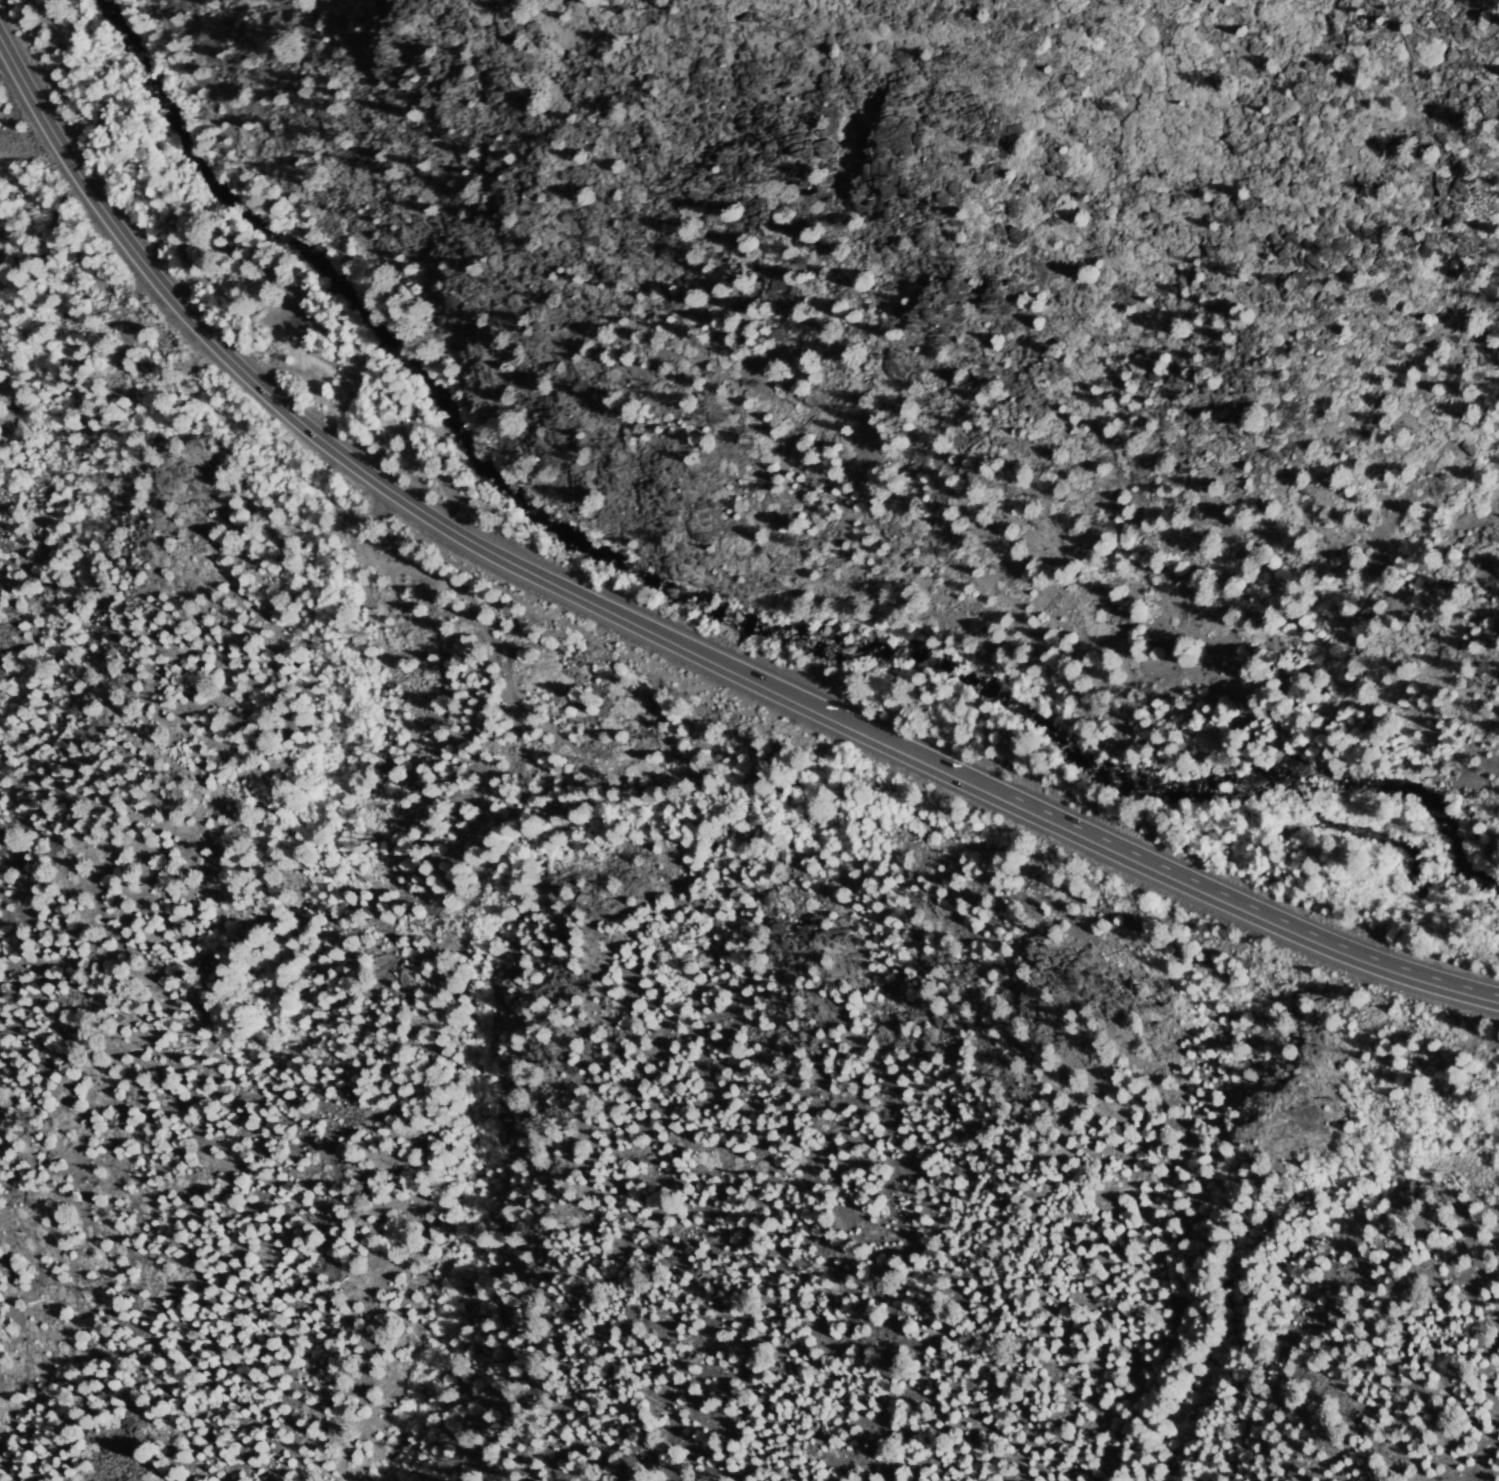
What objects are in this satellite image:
road: (24, 197)
road: (332, 447)
road: (406, 452)
road: (383, 568)
river: (716, 610)
road: (1142, 863)

